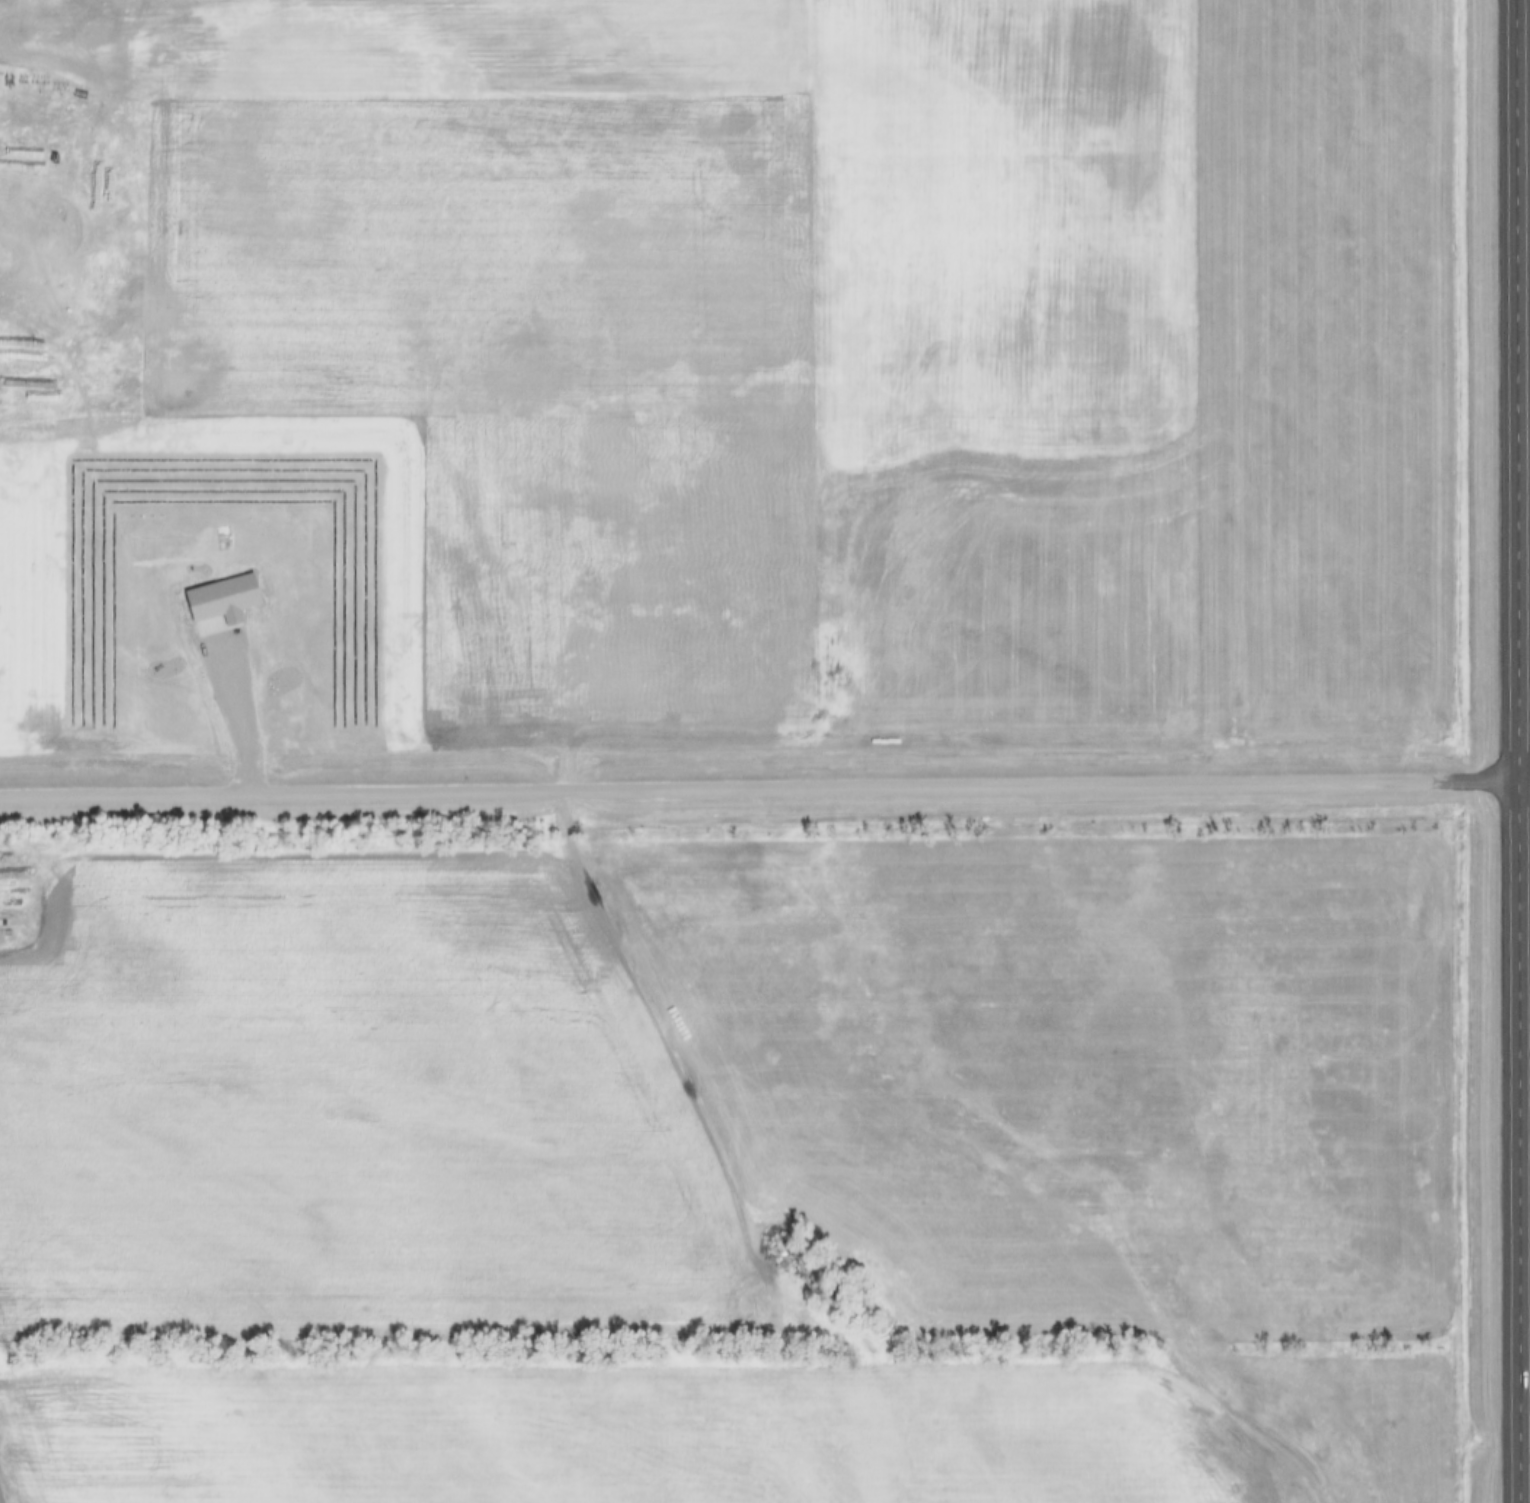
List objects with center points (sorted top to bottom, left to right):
road: (765, 788)
road: (0, 1501)

